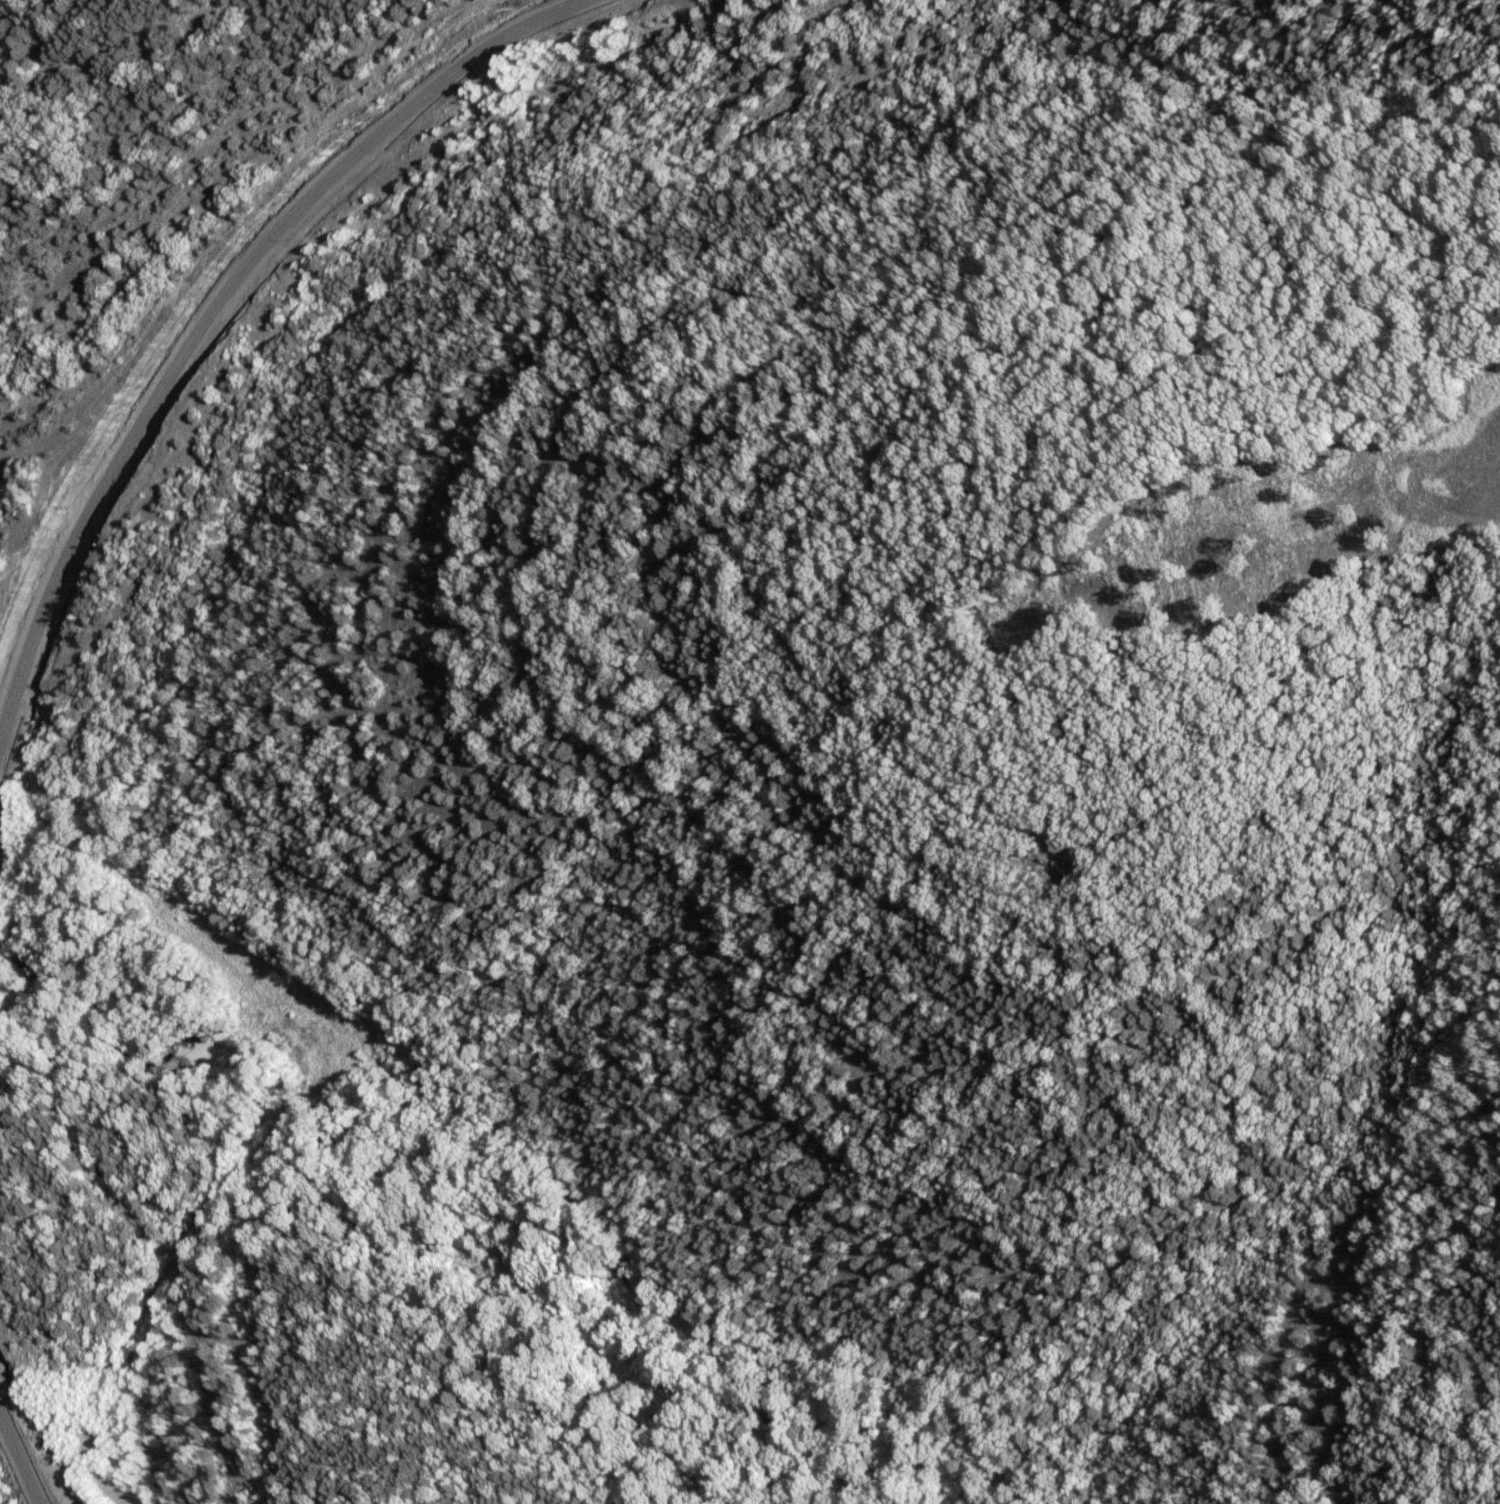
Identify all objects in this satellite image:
road: (200, 305)
road: (44, 1457)

